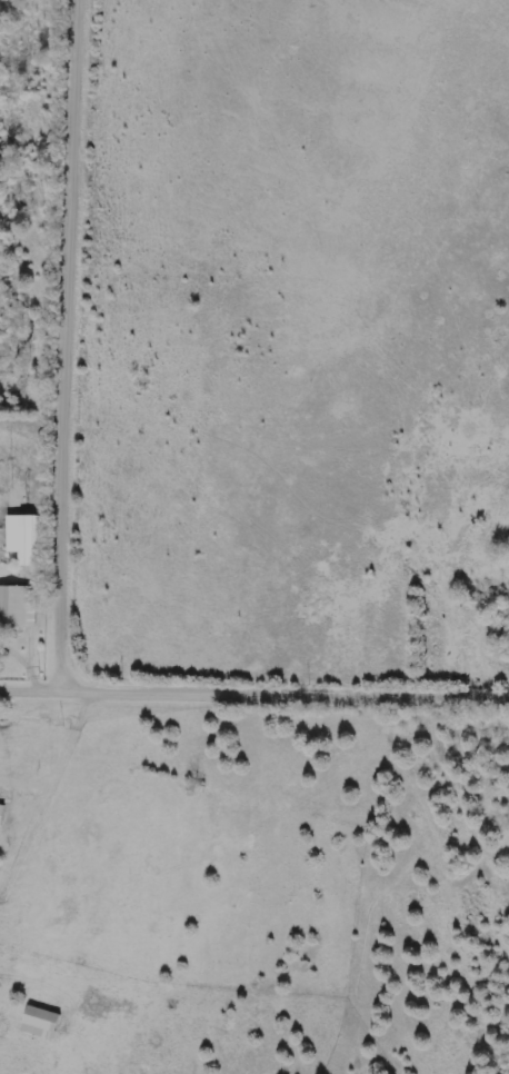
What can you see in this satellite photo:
building: (23, 553)
road: (58, 560)
building: (17, 607)
road: (38, 683)
road: (72, 733)
road: (24, 782)
building: (2, 806)
road: (31, 814)
building: (42, 1024)

